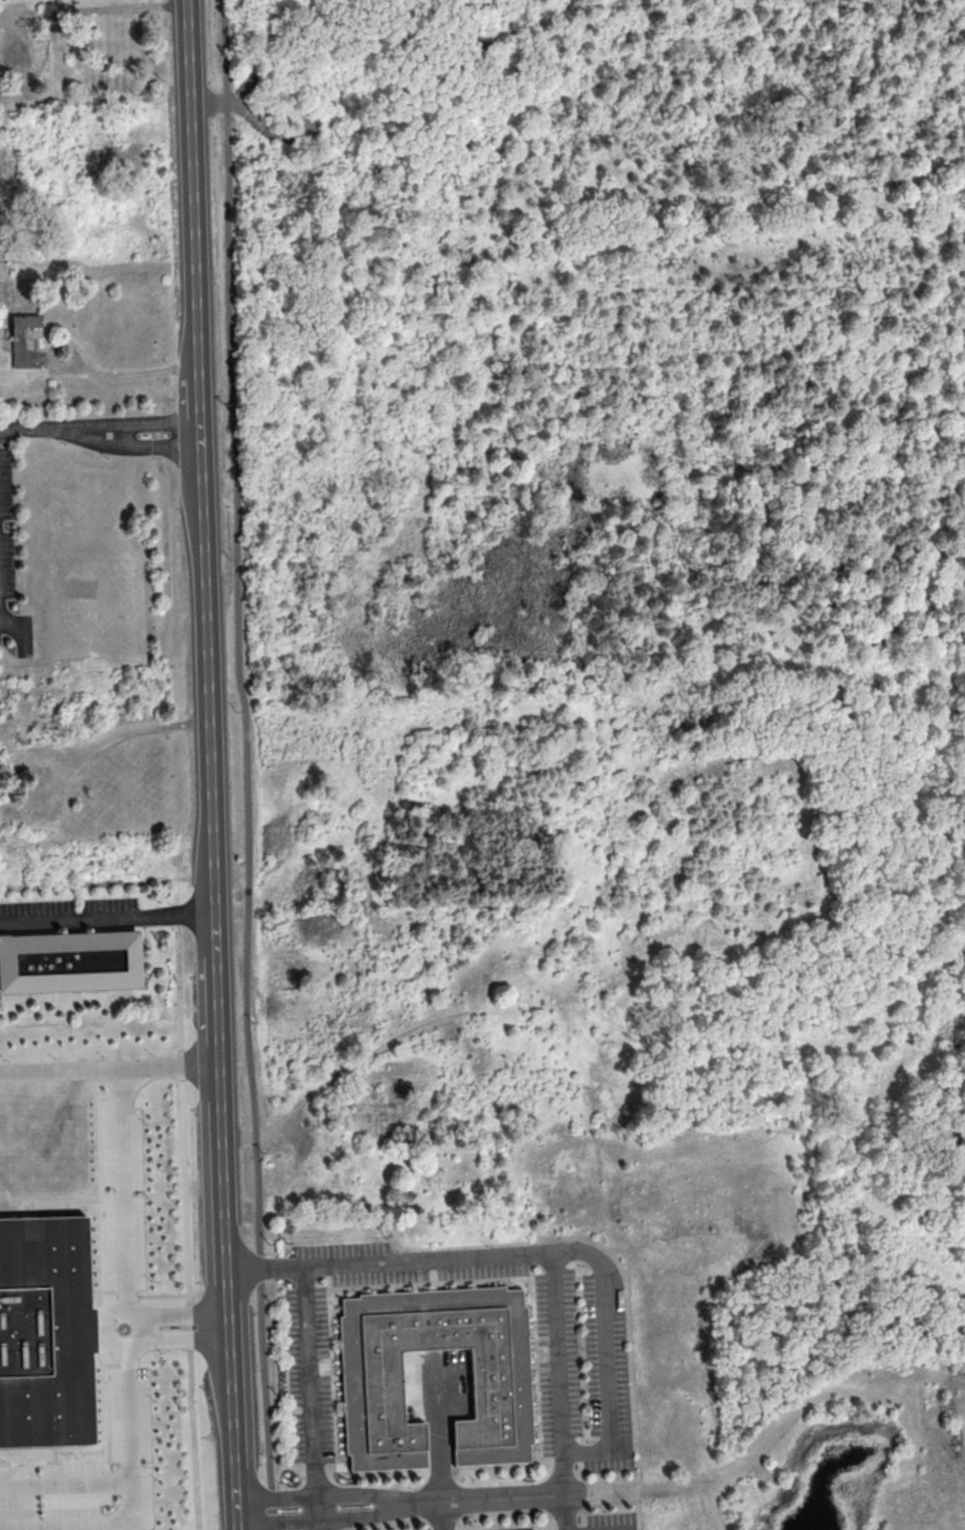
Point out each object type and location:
road: (151, 2)
road: (230, 100)
road: (262, 112)
road: (193, 116)
road: (277, 134)
building: (25, 340)
road: (111, 373)
road: (135, 423)
road: (34, 427)
road: (133, 448)
road: (165, 524)
road: (24, 629)
road: (248, 764)
road: (214, 881)
road: (107, 919)
building: (69, 963)
road: (110, 1069)
road: (119, 1192)
road: (185, 1205)
road: (532, 1256)
road: (129, 1318)
road: (181, 1326)
building: (45, 1329)
building: (371, 1385)
road: (561, 1392)
road: (311, 1398)
road: (439, 1445)
road: (64, 1483)
road: (129, 1494)
road: (323, 1495)
road: (488, 1498)
road: (325, 1521)

